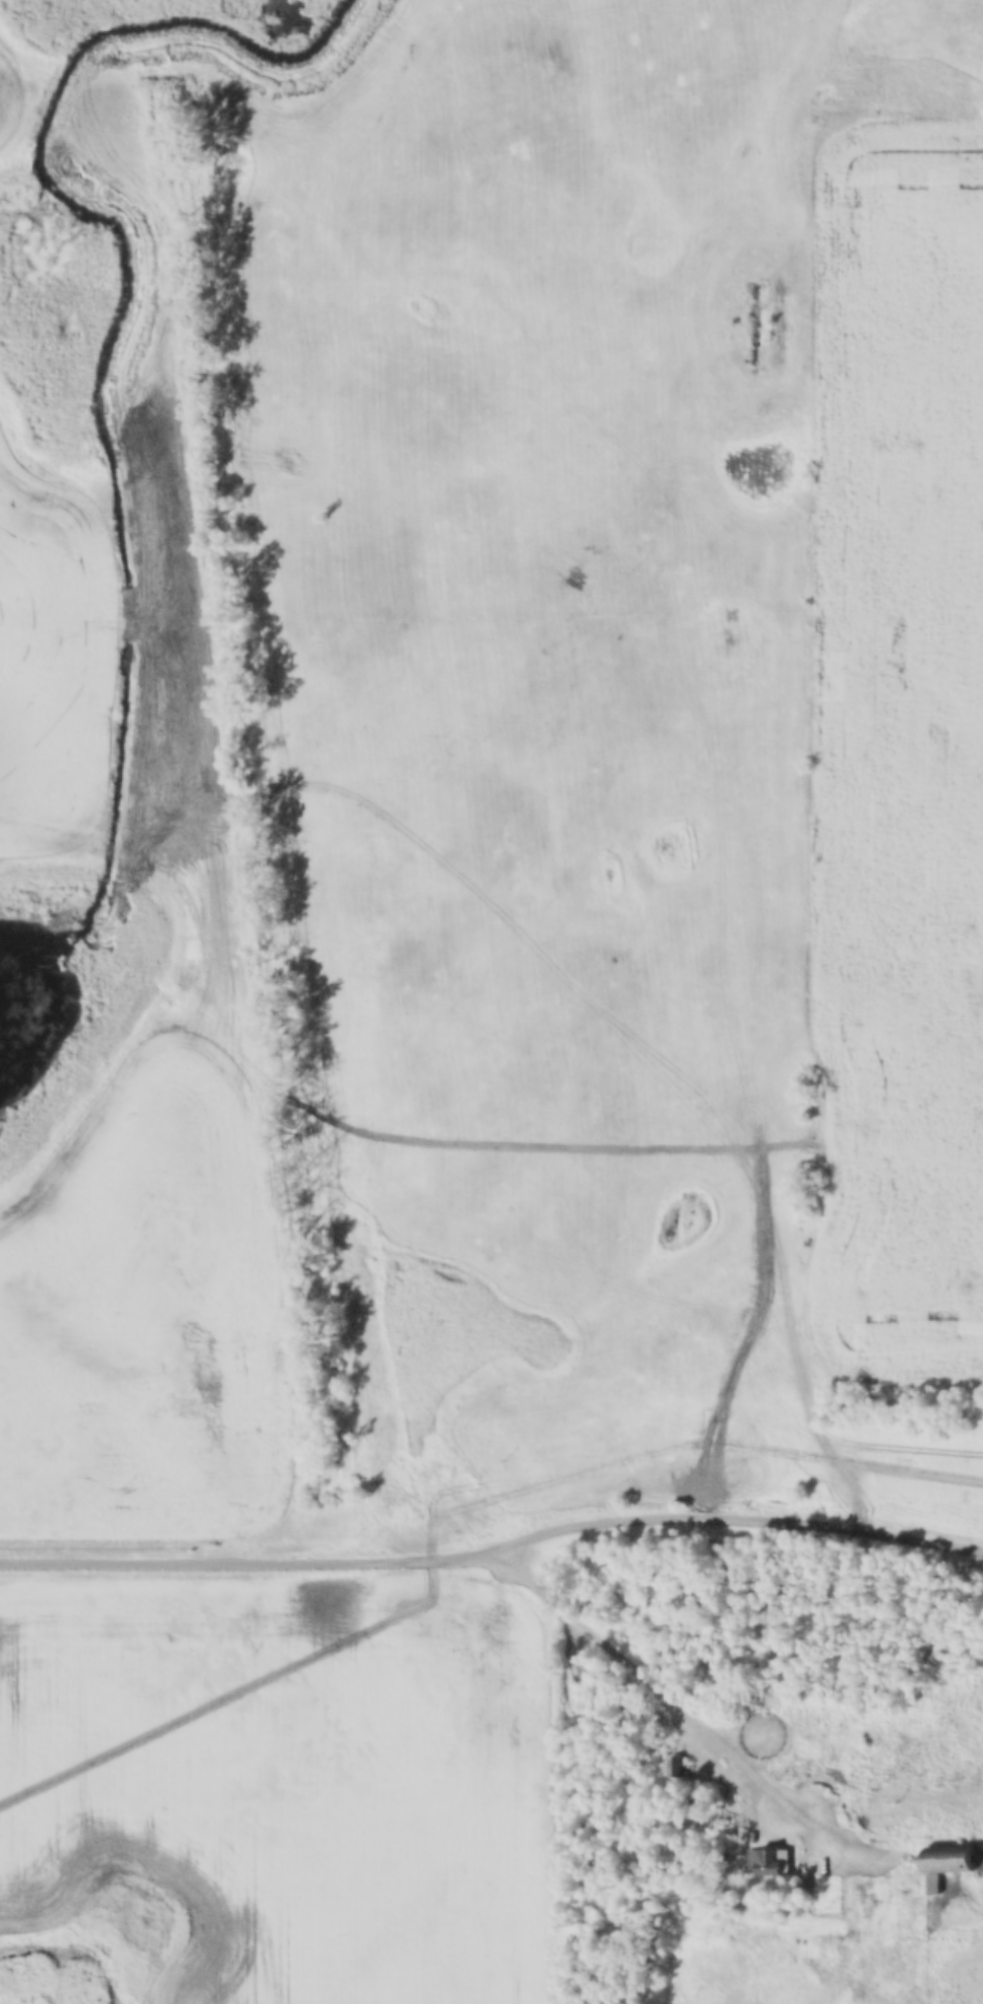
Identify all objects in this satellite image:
road: (494, 1547)
road: (667, 1697)
building: (821, 1772)
building: (772, 1865)
building: (936, 1886)

